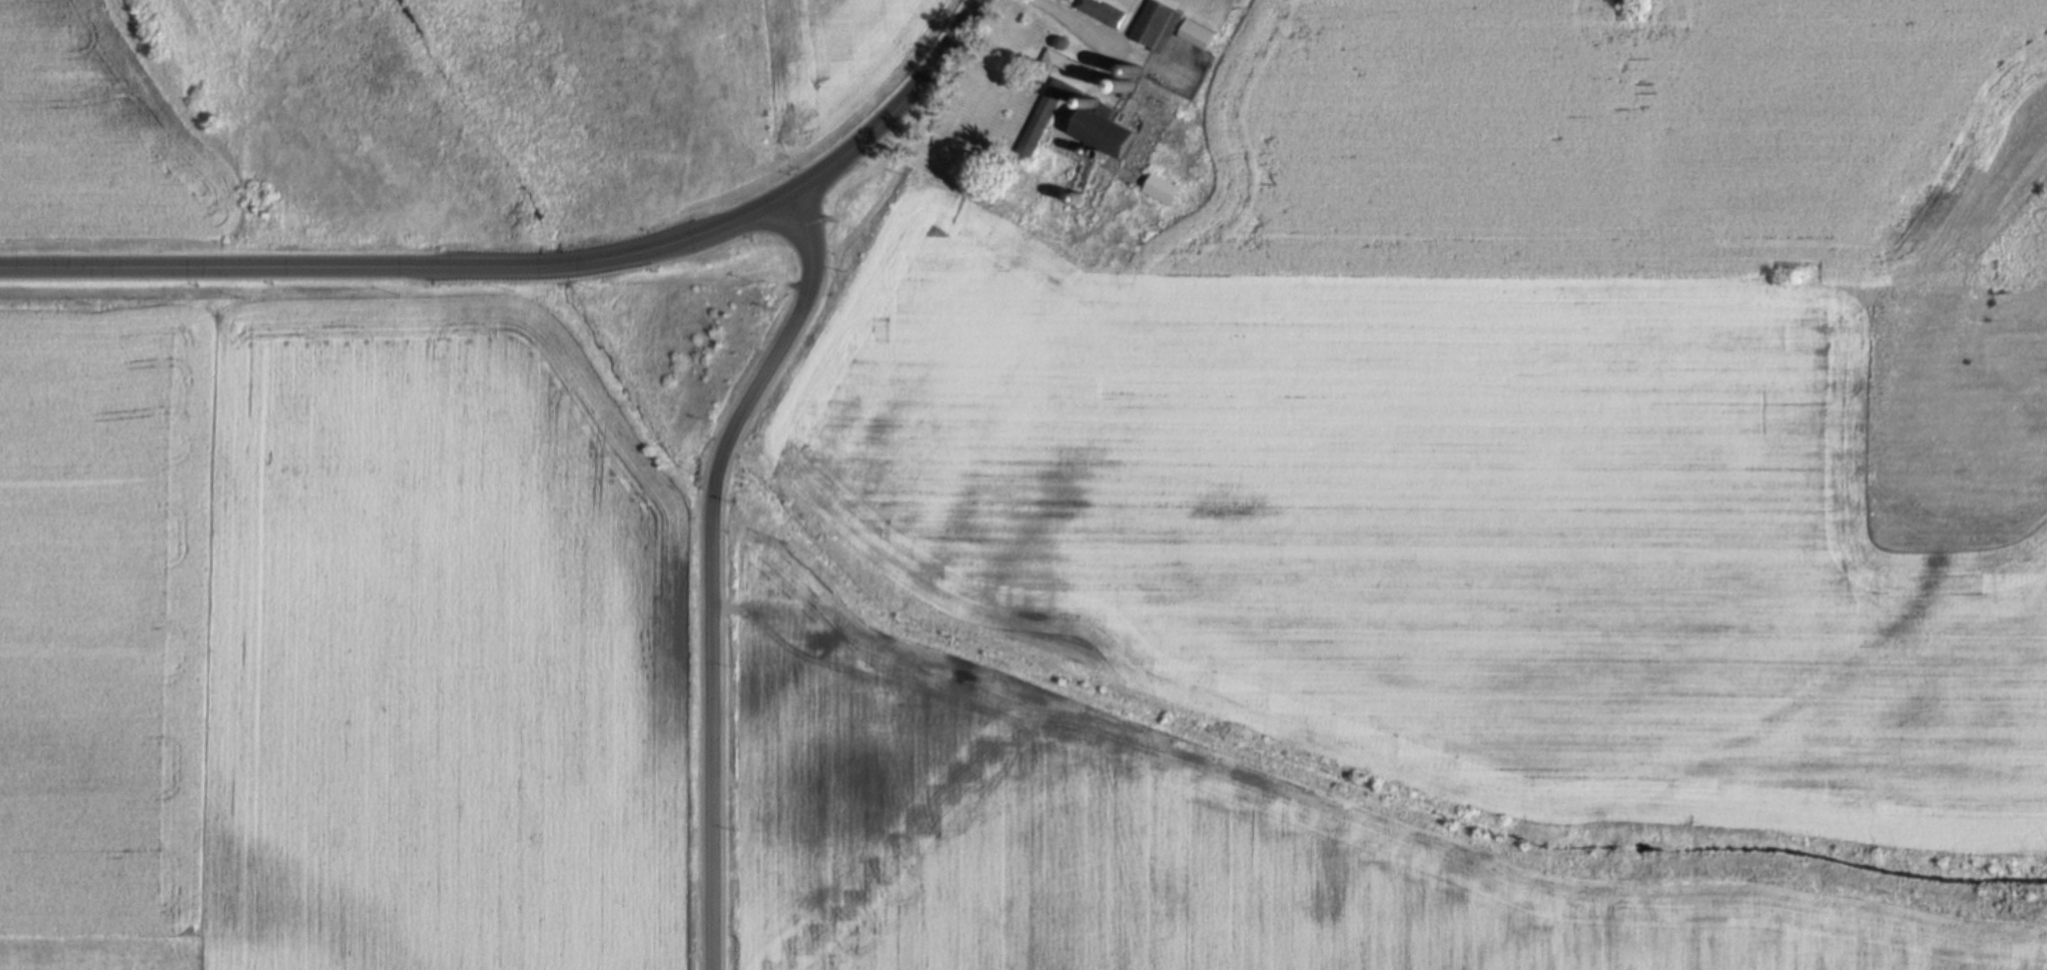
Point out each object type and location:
building: (1103, 13)
road: (1075, 24)
road: (1129, 24)
building: (1157, 24)
building: (1197, 34)
road: (944, 53)
building: (1065, 64)
building: (1133, 84)
building: (1046, 113)
building: (1108, 132)
road: (851, 148)
building: (1163, 189)
road: (404, 267)
road: (710, 567)

